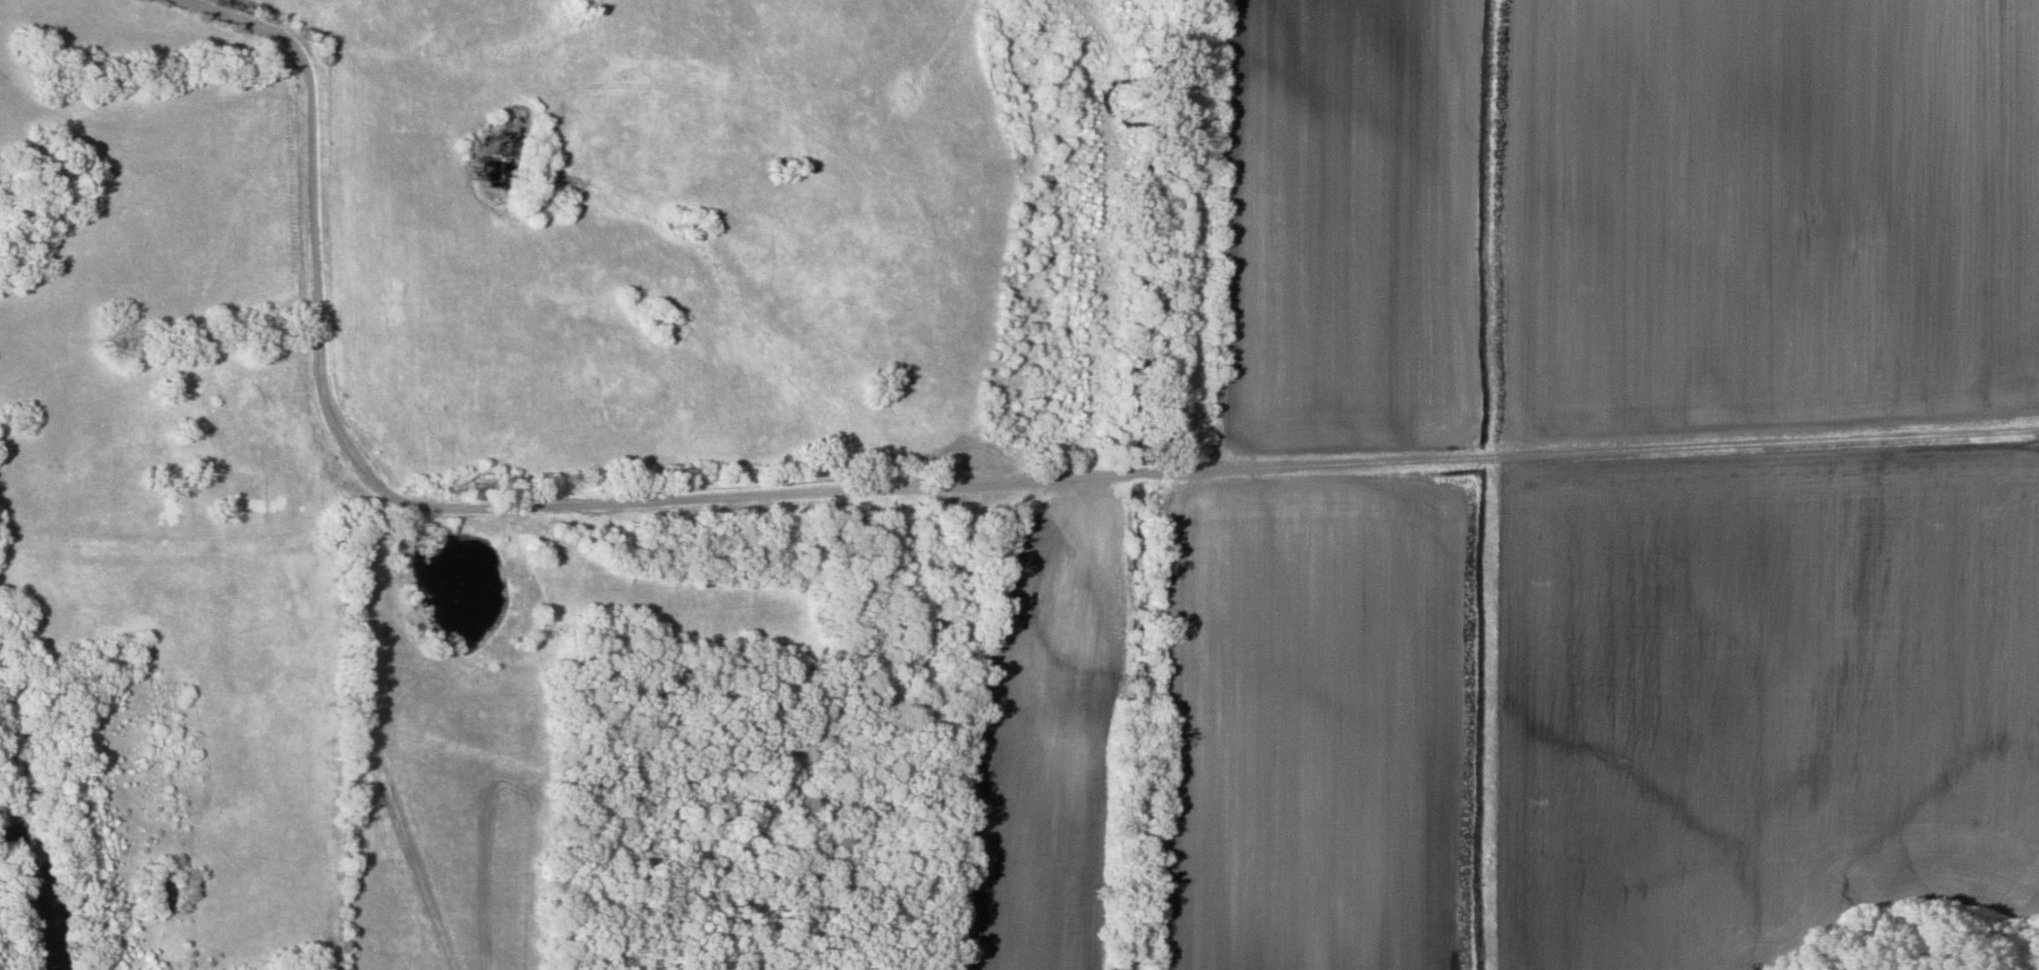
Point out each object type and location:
road: (914, 483)

